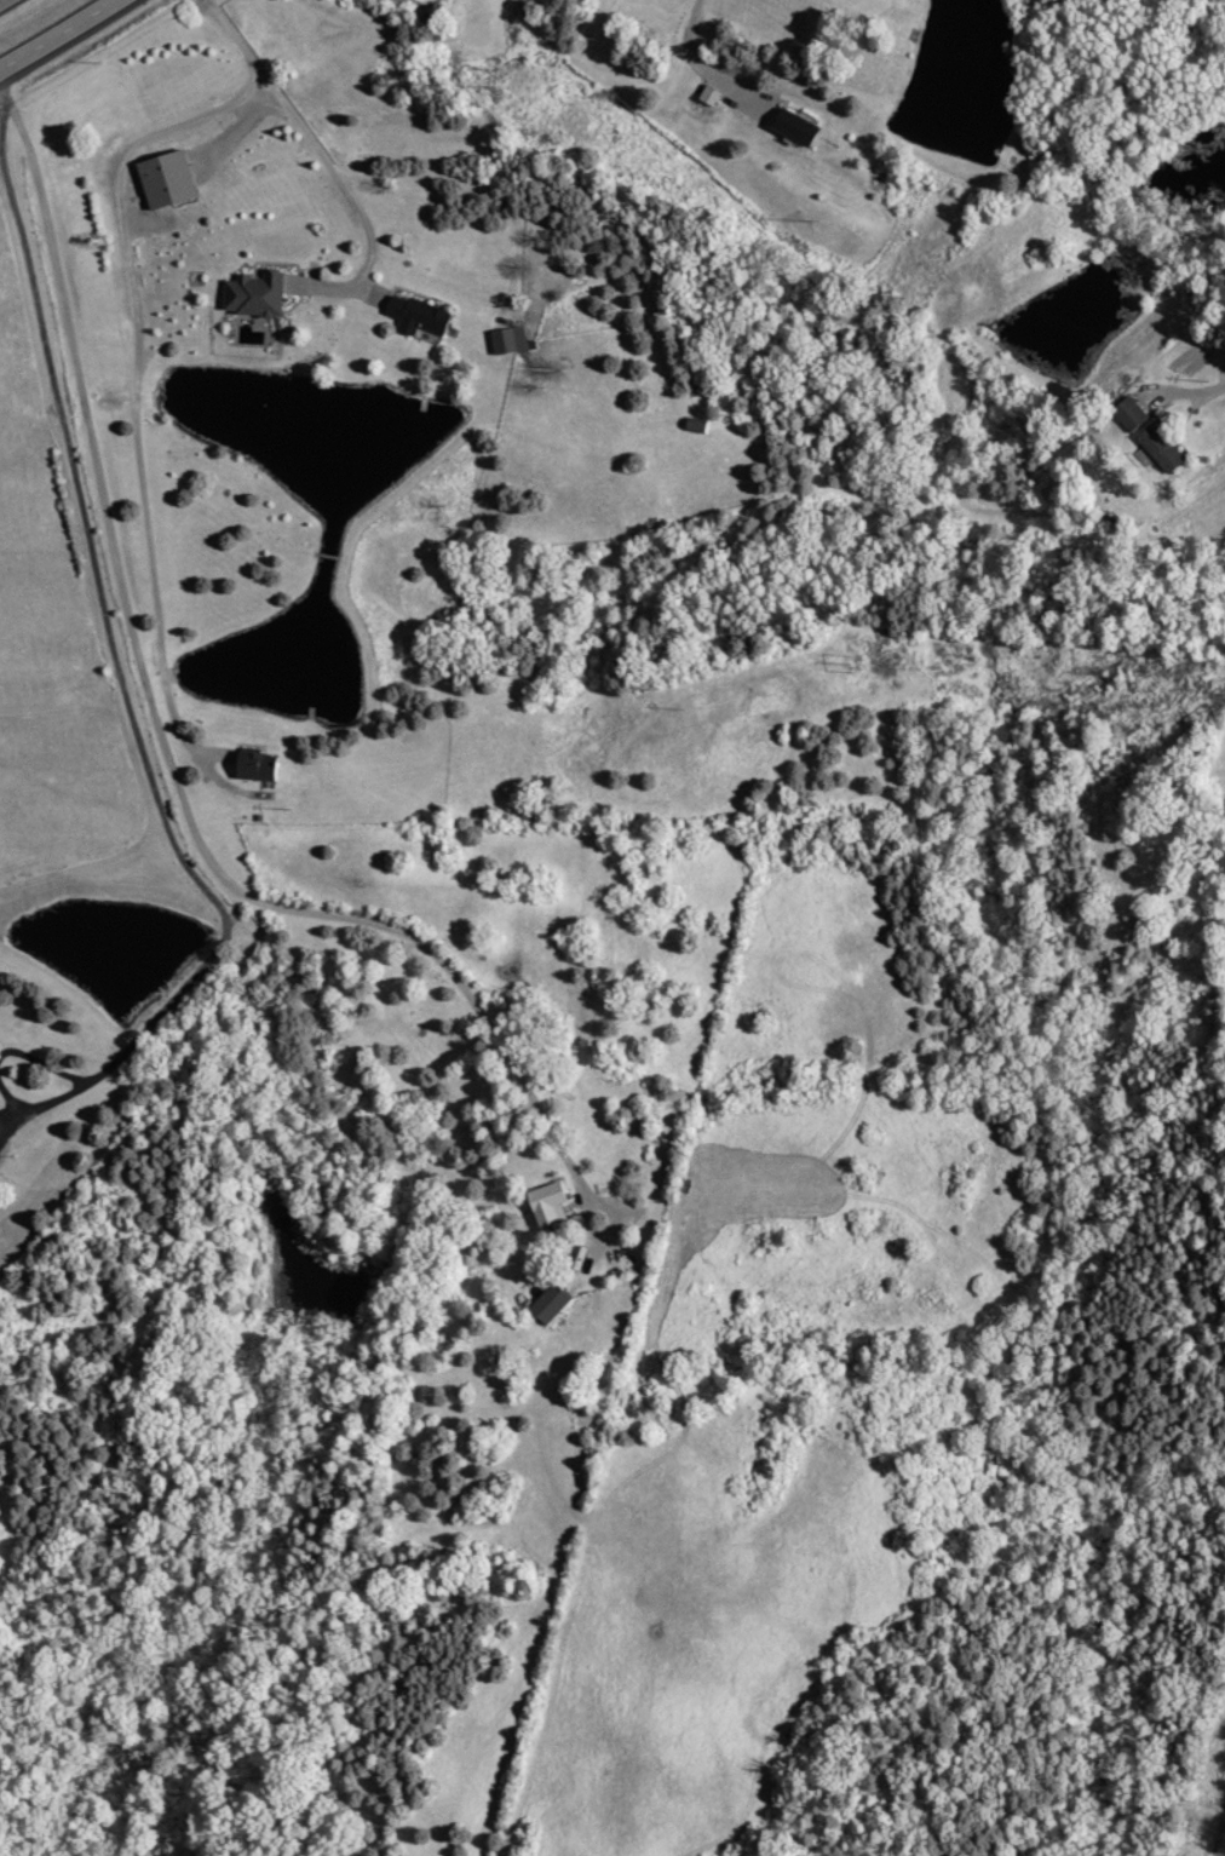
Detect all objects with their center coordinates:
road: (0, 0)
road: (61, 36)
road: (706, 67)
building: (800, 126)
road: (303, 131)
road: (121, 163)
building: (171, 179)
building: (258, 293)
building: (420, 315)
building: (513, 340)
road: (1201, 391)
building: (1133, 413)
building: (1164, 448)
road: (144, 528)
road: (110, 636)
building: (260, 765)
road: (178, 782)
road: (11, 1103)
building: (551, 1203)
building: (553, 1303)

